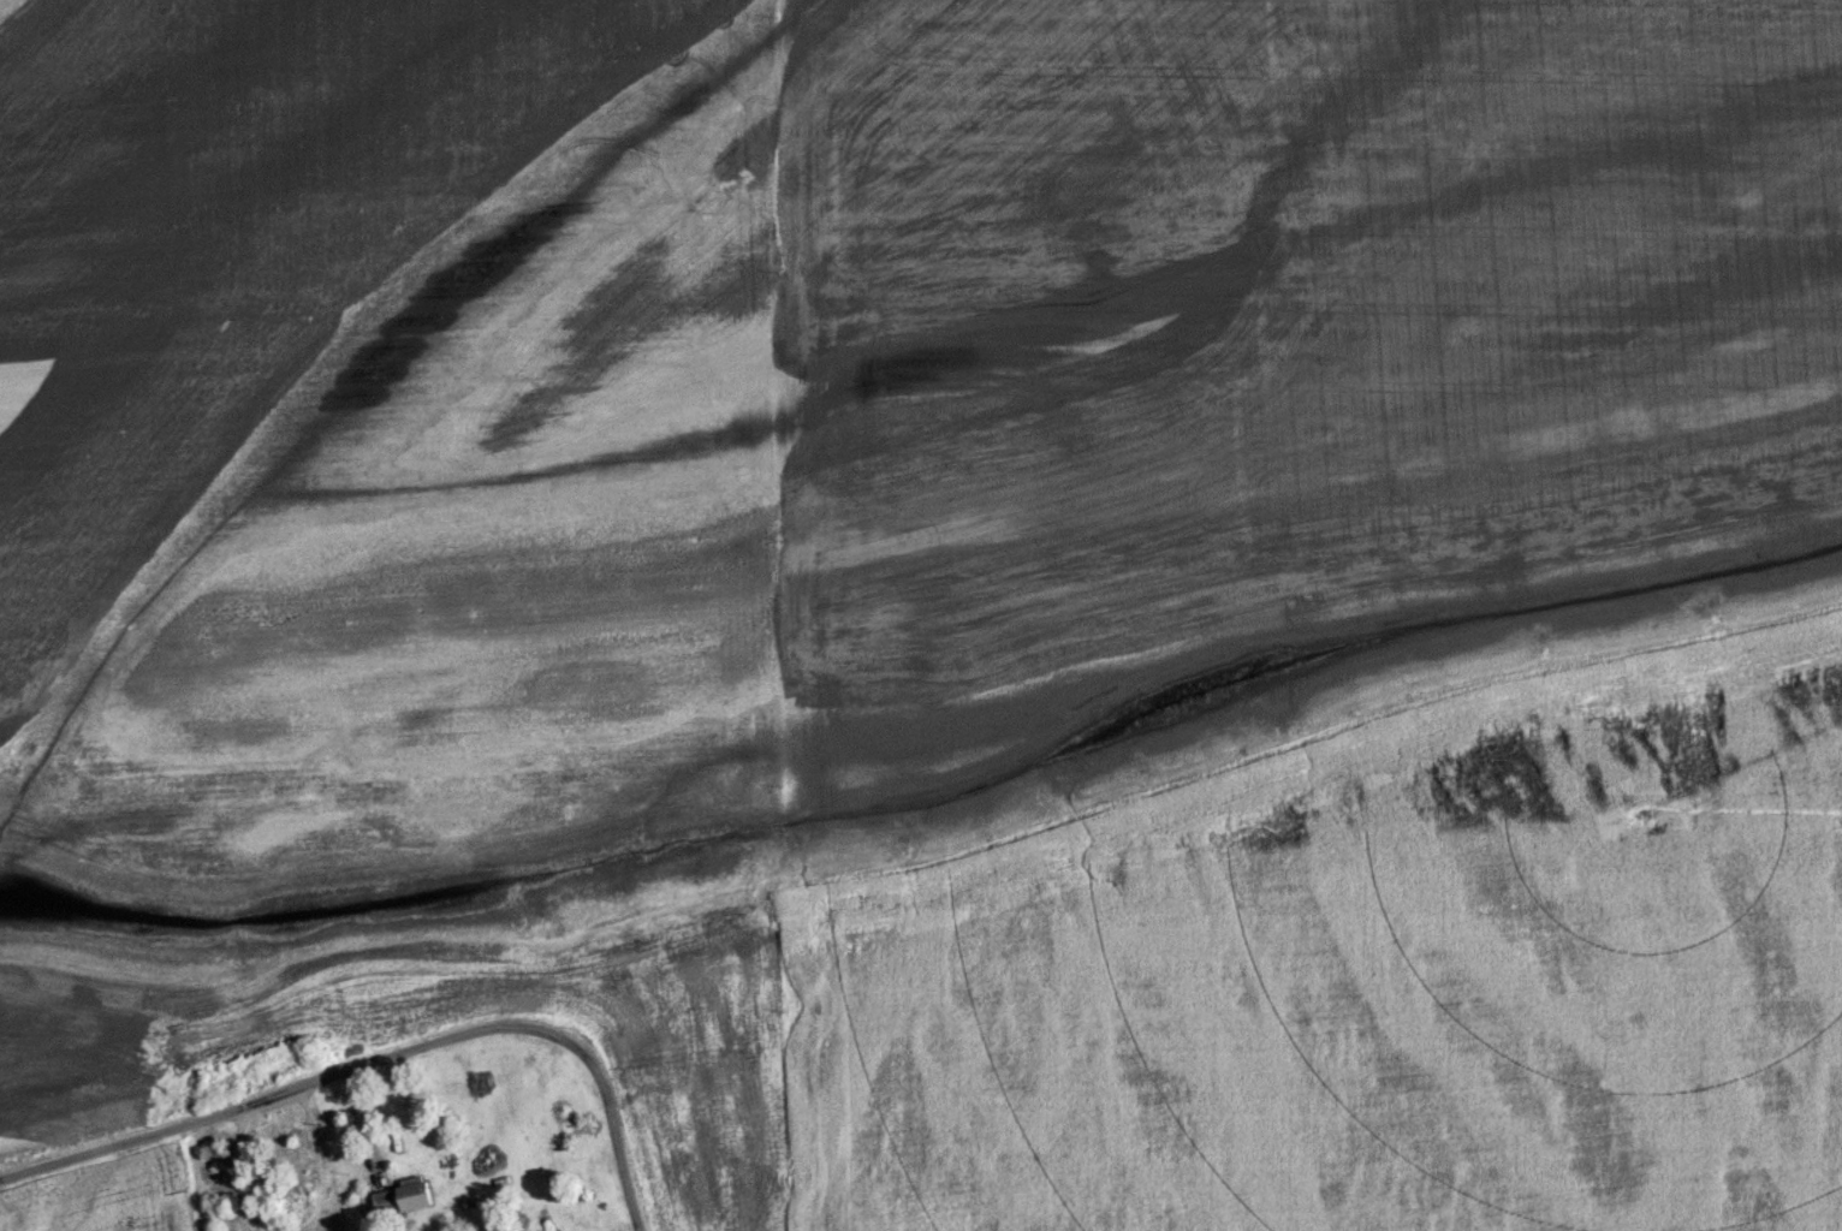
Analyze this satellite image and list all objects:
road: (380, 1059)
building: (402, 1195)
road: (290, 1224)

